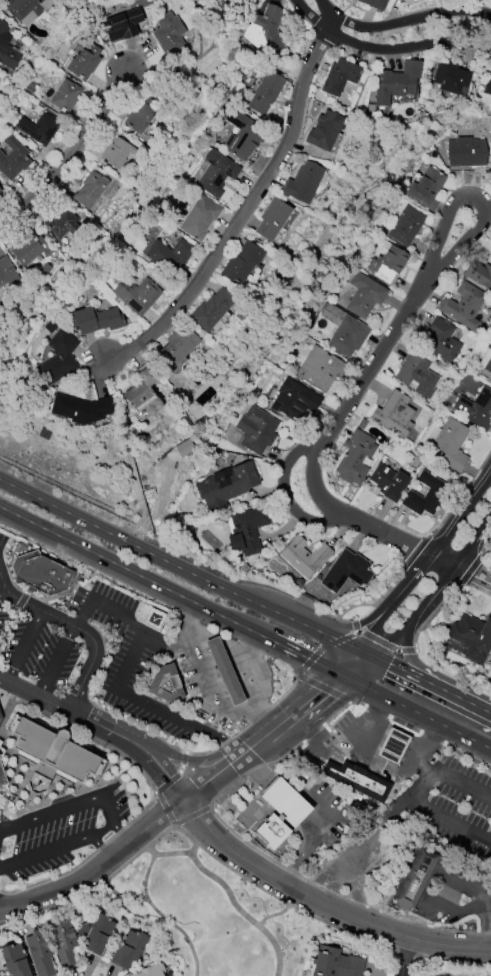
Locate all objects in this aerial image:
building: (413, 0)
building: (486, 0)
building: (375, 4)
building: (232, 5)
building: (27, 9)
road: (401, 21)
building: (122, 24)
building: (265, 31)
building: (169, 39)
building: (7, 49)
road: (385, 49)
building: (85, 62)
building: (341, 79)
building: (451, 79)
building: (397, 83)
building: (484, 85)
building: (266, 93)
building: (66, 96)
building: (141, 115)
building: (44, 129)
building: (325, 131)
building: (242, 135)
road: (70, 153)
building: (118, 153)
building: (466, 153)
building: (13, 159)
building: (217, 173)
building: (303, 182)
building: (427, 188)
building: (0, 190)
building: (91, 190)
building: (0, 194)
road: (476, 199)
road: (245, 207)
building: (200, 218)
building: (272, 219)
building: (64, 224)
building: (407, 226)
building: (31, 250)
building: (170, 256)
building: (242, 263)
building: (388, 263)
building: (8, 275)
building: (479, 275)
building: (137, 295)
building: (365, 295)
building: (464, 306)
building: (212, 310)
building: (97, 320)
building: (345, 331)
building: (443, 342)
building: (178, 346)
building: (59, 358)
building: (486, 361)
building: (321, 369)
building: (419, 374)
building: (144, 393)
road: (350, 399)
building: (295, 400)
building: (476, 408)
building: (82, 409)
building: (394, 415)
building: (257, 430)
building: (450, 444)
building: (184, 448)
building: (355, 458)
building: (389, 483)
building: (226, 486)
road: (283, 494)
building: (426, 496)
road: (468, 507)
road: (69, 514)
road: (482, 525)
building: (247, 531)
parking lot: (2, 541)
road: (423, 553)
building: (305, 557)
building: (347, 571)
building: (40, 573)
road: (1, 589)
road: (251, 601)
road: (427, 601)
road: (392, 605)
building: (153, 618)
road: (245, 628)
road: (78, 629)
traffic signals: (369, 632)
road: (216, 636)
building: (471, 637)
road: (23, 646)
building: (455, 647)
road: (163, 648)
parking lot: (36, 651)
road: (370, 655)
traffic signals: (307, 659)
building: (490, 659)
parking lot: (130, 660)
road: (55, 662)
traffic signals: (389, 664)
road: (358, 667)
road: (425, 670)
building: (224, 671)
road: (248, 672)
road: (117, 683)
building: (164, 684)
road: (433, 685)
road: (202, 687)
traffic signals: (320, 691)
road: (60, 708)
building: (0, 717)
building: (392, 746)
road: (348, 749)
building: (50, 755)
road: (160, 760)
road: (190, 761)
building: (2, 764)
road: (150, 770)
road: (255, 770)
road: (435, 773)
building: (356, 780)
road: (176, 803)
road: (438, 811)
building: (279, 813)
road: (109, 816)
parking lot: (58, 831)
road: (120, 833)
road: (318, 838)
road: (99, 847)
road: (361, 849)
road: (173, 853)
building: (414, 879)
road: (473, 884)
park: (207, 902)
road: (232, 902)
road: (5, 904)
road: (321, 904)
road: (473, 905)
road: (153, 908)
road: (279, 912)
building: (96, 935)
building: (65, 944)
building: (129, 950)
building: (40, 952)
road: (404, 956)
building: (16, 961)
building: (336, 963)
building: (150, 971)

